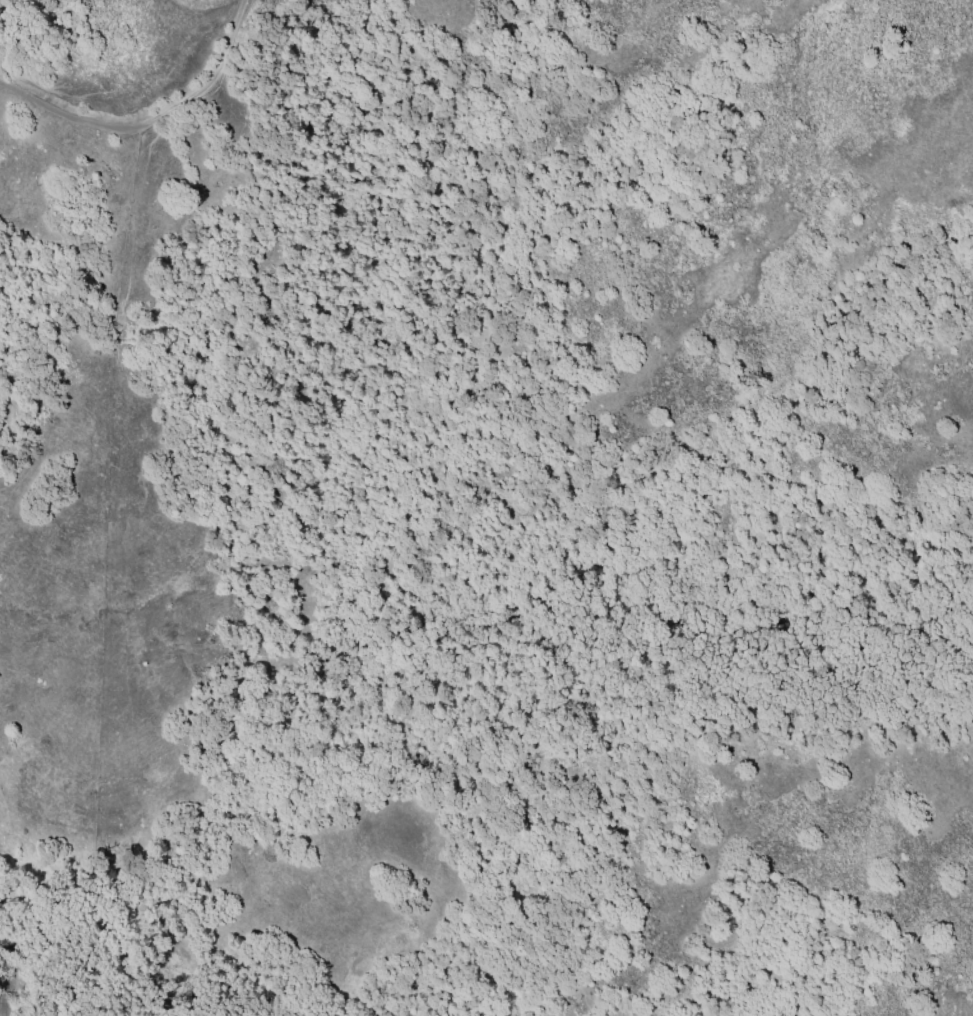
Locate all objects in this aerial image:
road: (149, 119)

